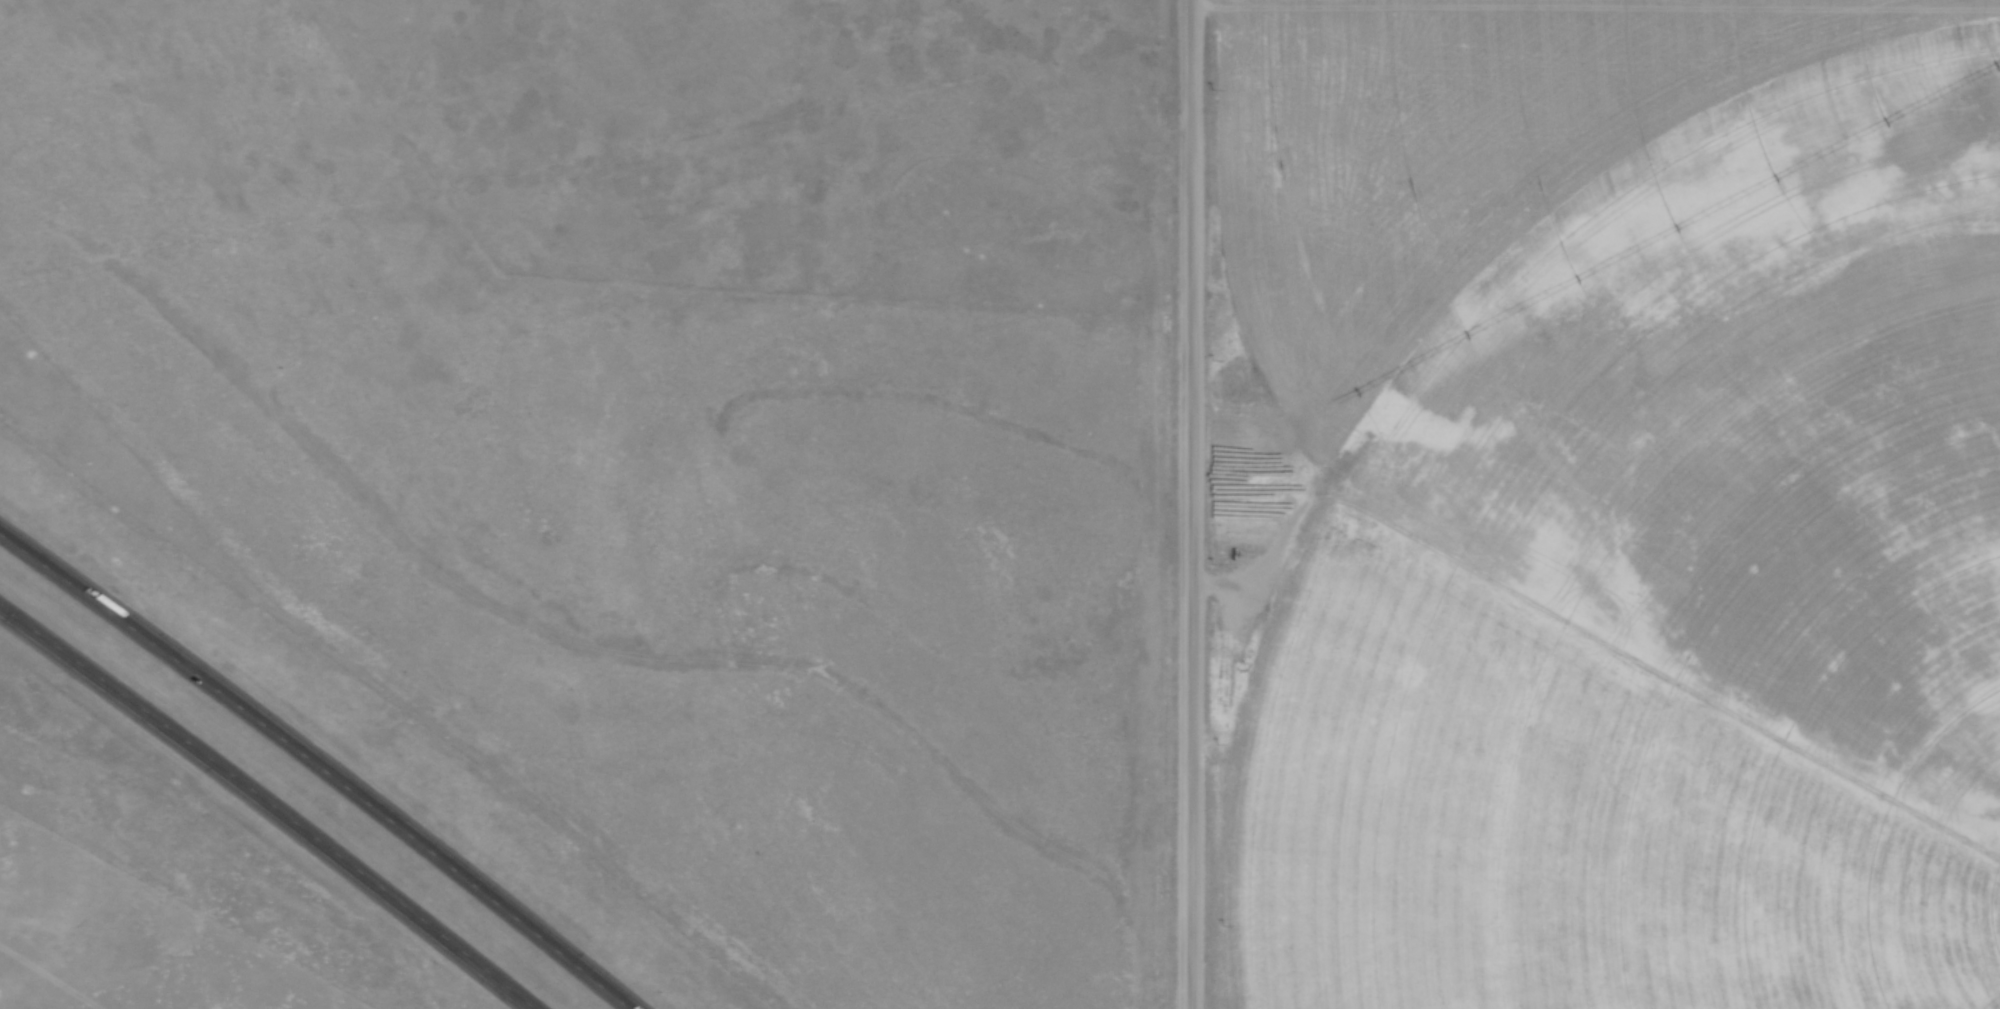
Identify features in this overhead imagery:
road: (1186, 504)
crop: (1618, 504)
road: (316, 764)
road: (270, 803)

